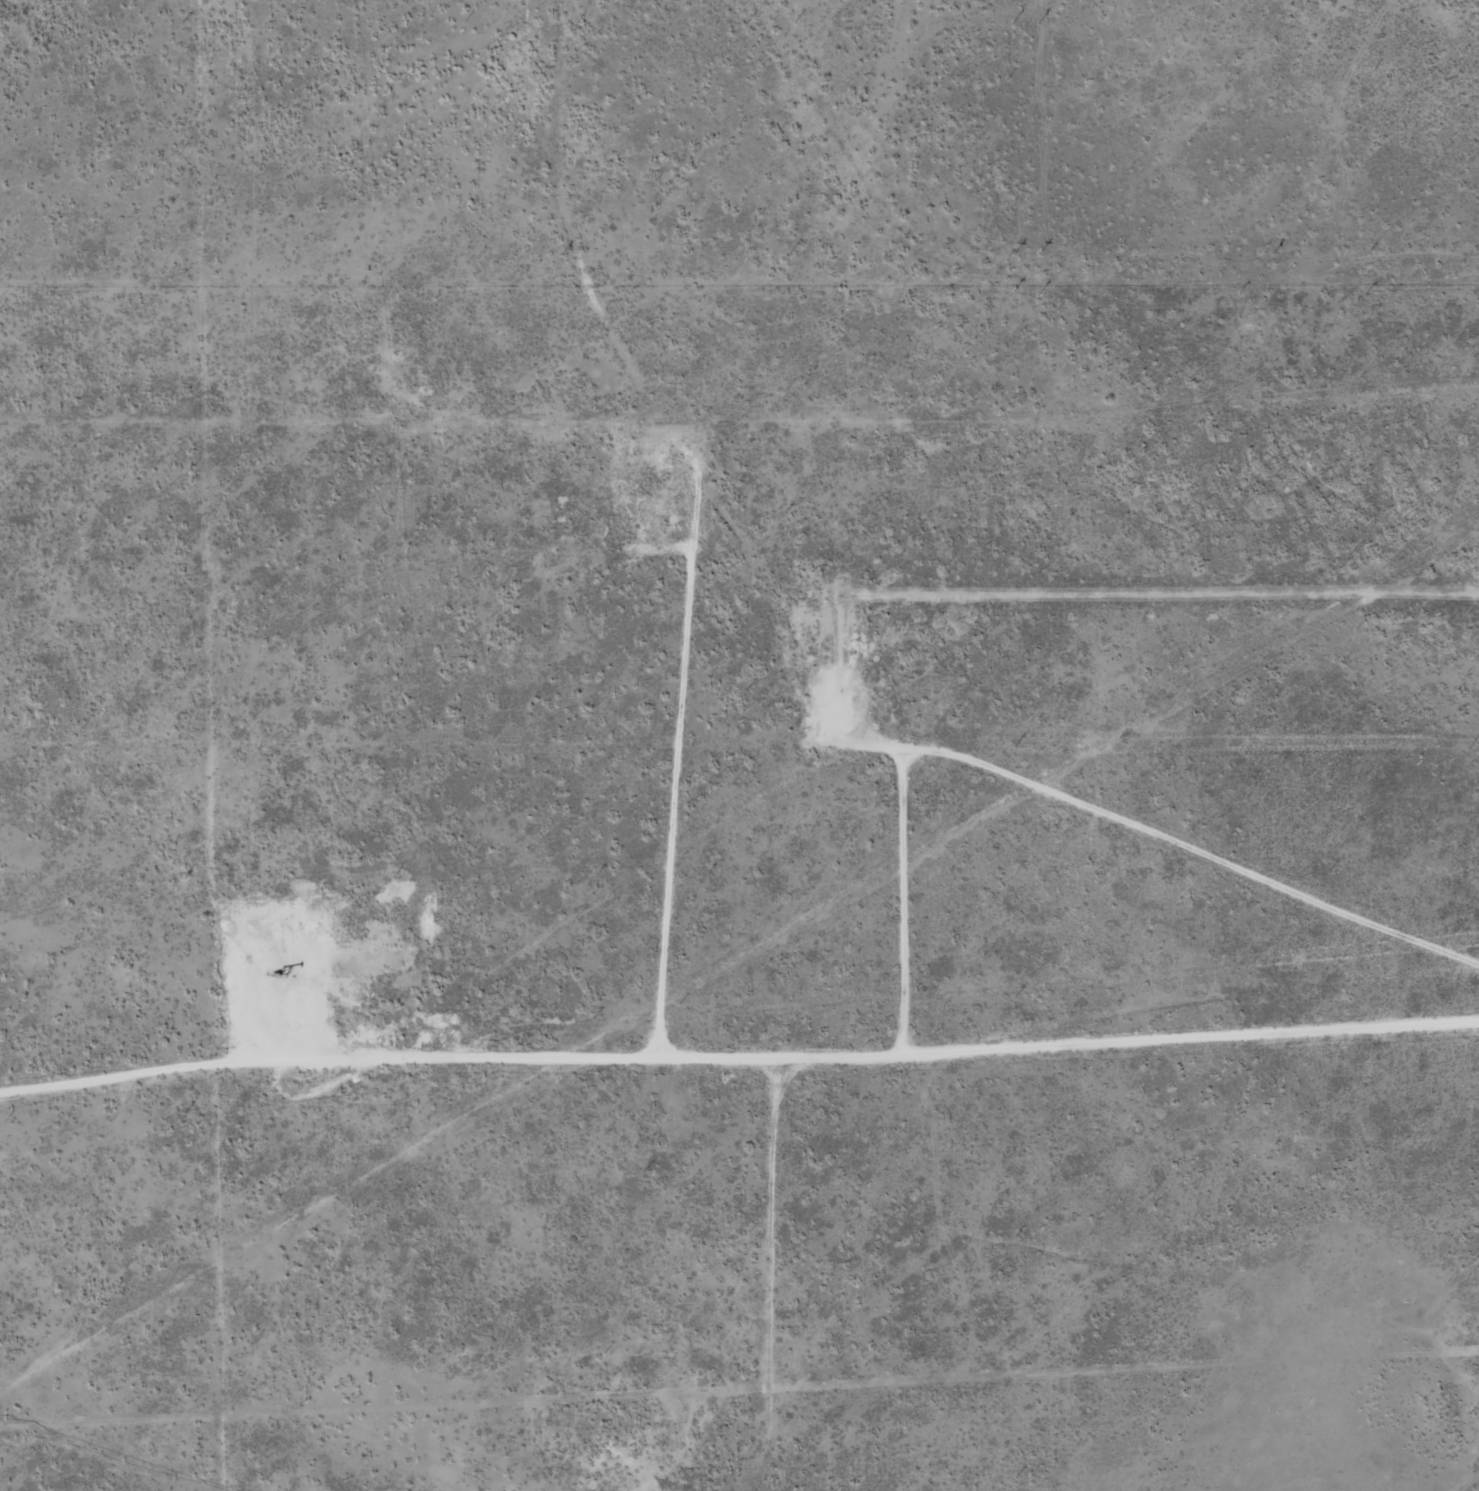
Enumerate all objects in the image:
road: (818, 691)
road: (909, 897)
road: (732, 1064)
road: (746, 1277)

